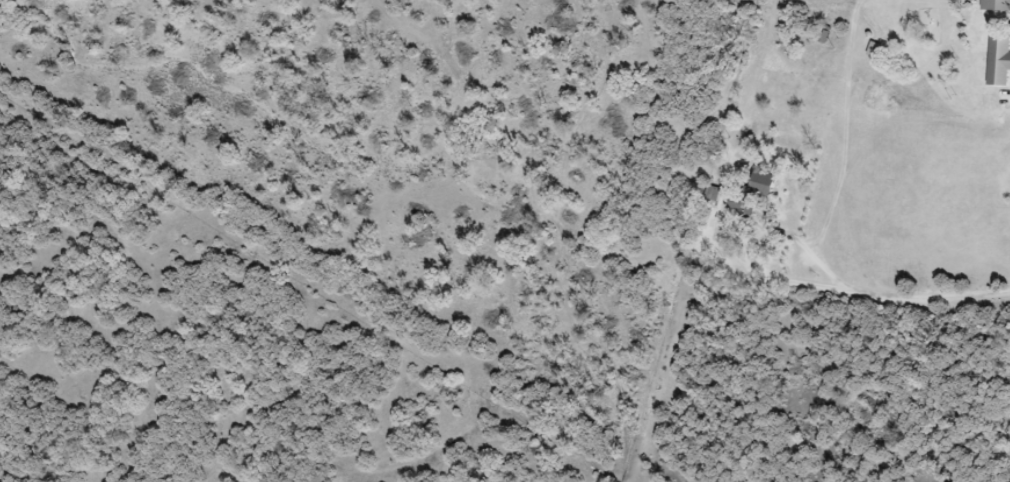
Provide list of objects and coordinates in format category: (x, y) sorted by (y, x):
building: (997, 6)
building: (1000, 61)
building: (771, 183)
road: (750, 243)
road: (926, 294)

